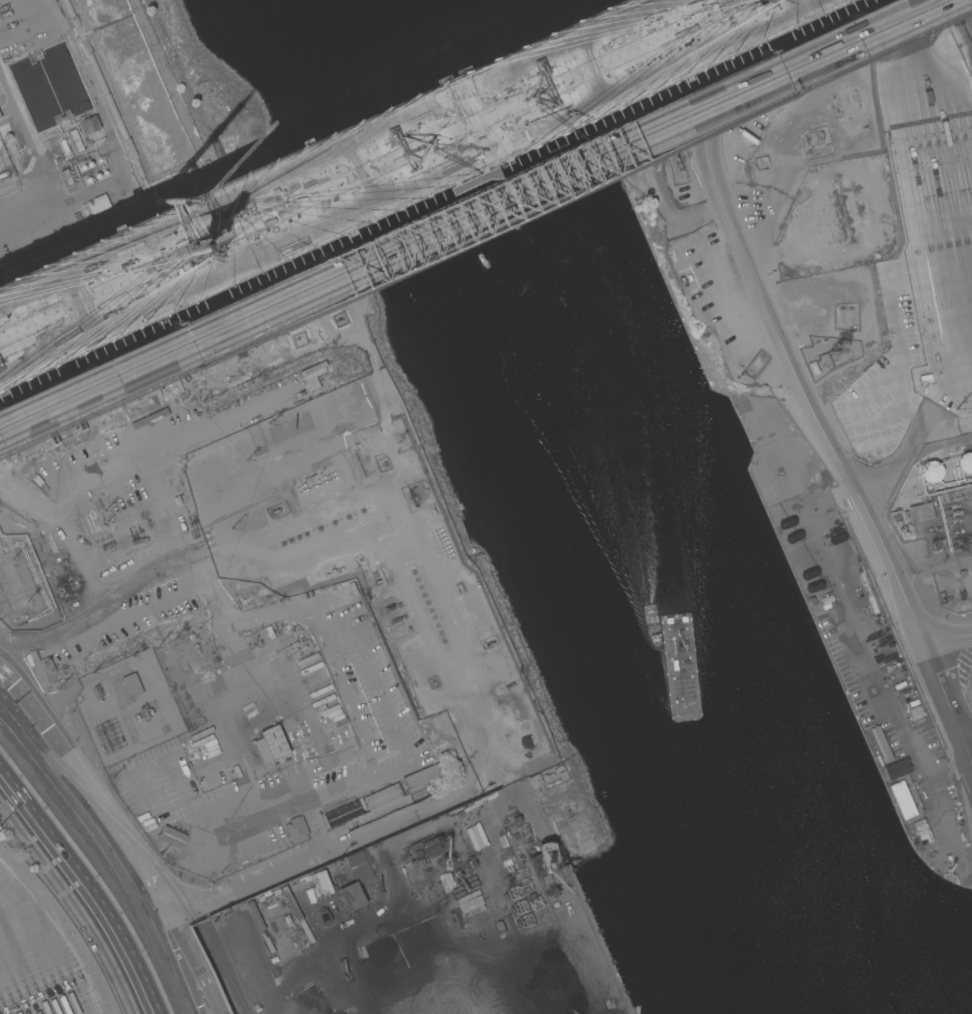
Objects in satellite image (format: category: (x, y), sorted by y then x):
power plant: (58, 145)
road: (329, 153)
road: (940, 164)
petroleum well: (677, 170)
road: (391, 181)
building: (97, 204)
road: (789, 354)
building: (964, 463)
building: (930, 471)
building: (919, 513)
road: (210, 600)
road: (99, 611)
road: (281, 611)
road: (328, 621)
building: (315, 668)
road: (265, 677)
building: (131, 685)
road: (376, 694)
road: (343, 697)
road: (950, 701)
power substation: (127, 708)
road: (890, 713)
road: (967, 731)
building: (273, 742)
building: (881, 744)
building: (897, 769)
road: (390, 770)
road: (140, 775)
road: (302, 776)
building: (423, 778)
road: (89, 786)
road: (249, 795)
building: (902, 800)
building: (341, 814)
building: (296, 830)
railway: (139, 844)
railway: (112, 850)
railway: (106, 857)
road: (304, 857)
road: (85, 893)
building: (350, 895)
railway: (229, 973)

